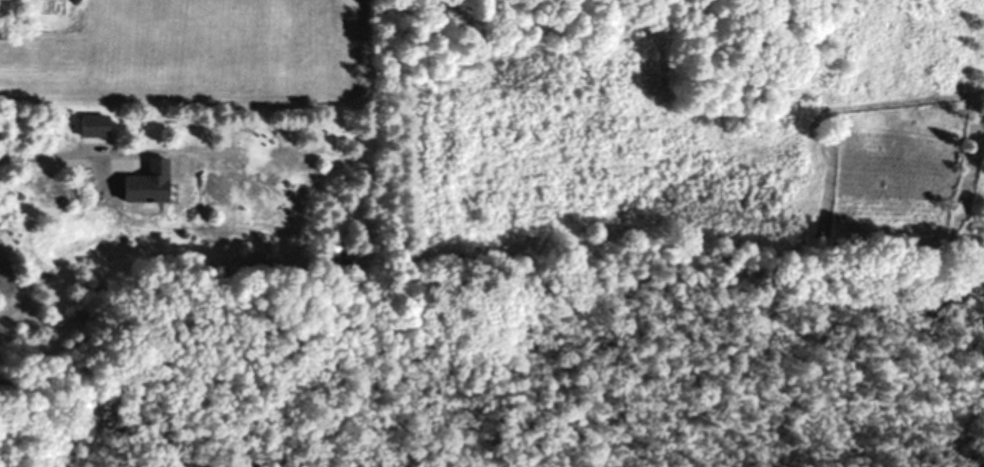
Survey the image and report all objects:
building: (329, 249)

